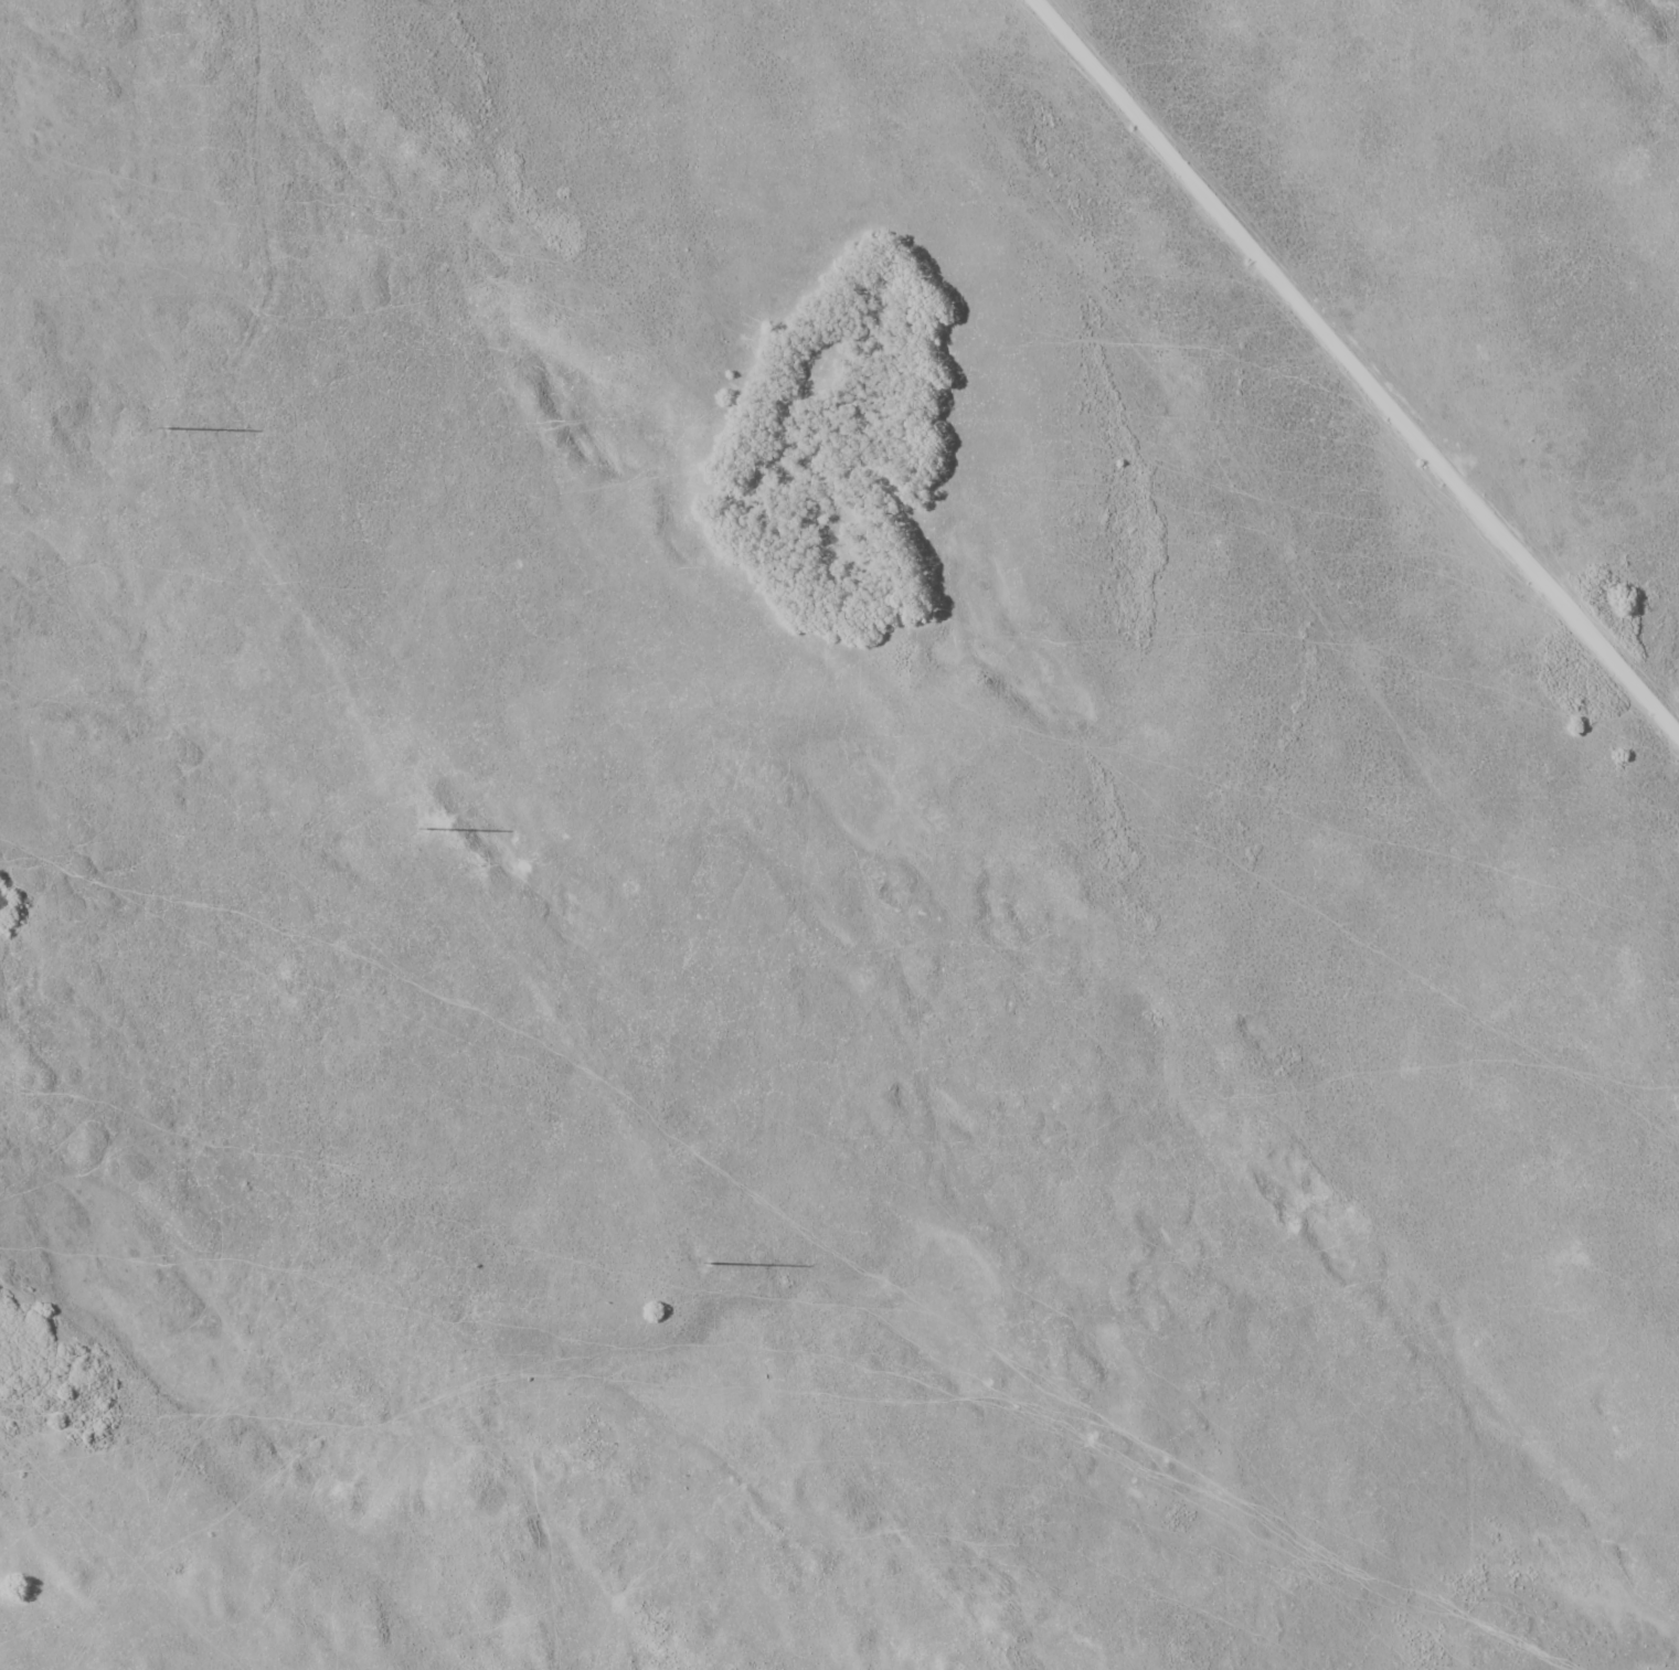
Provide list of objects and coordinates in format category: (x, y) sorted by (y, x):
road: (1362, 362)
power tower: (167, 429)
power tower: (426, 829)
power tower: (710, 1264)

